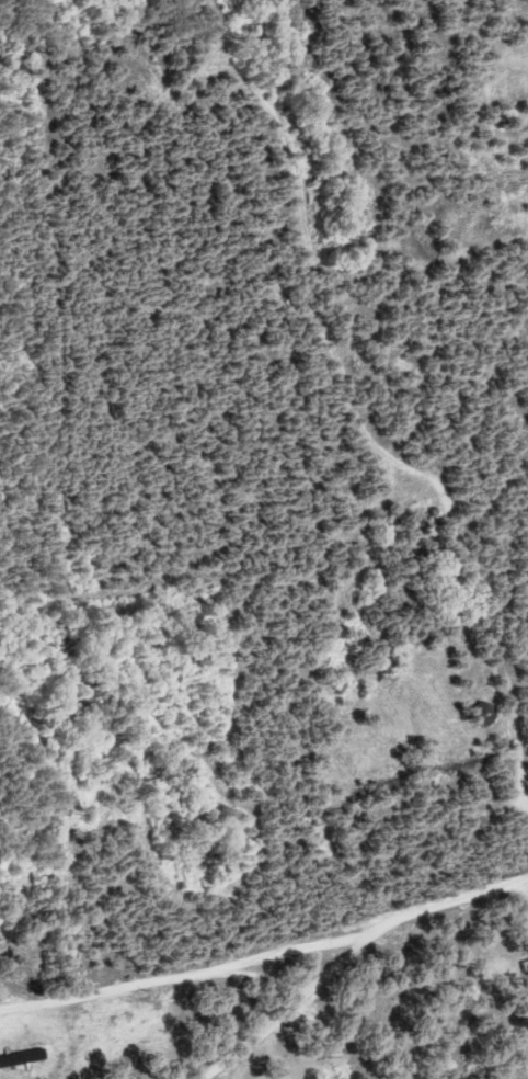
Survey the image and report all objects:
road: (389, 922)
building: (521, 963)
road: (282, 1018)

